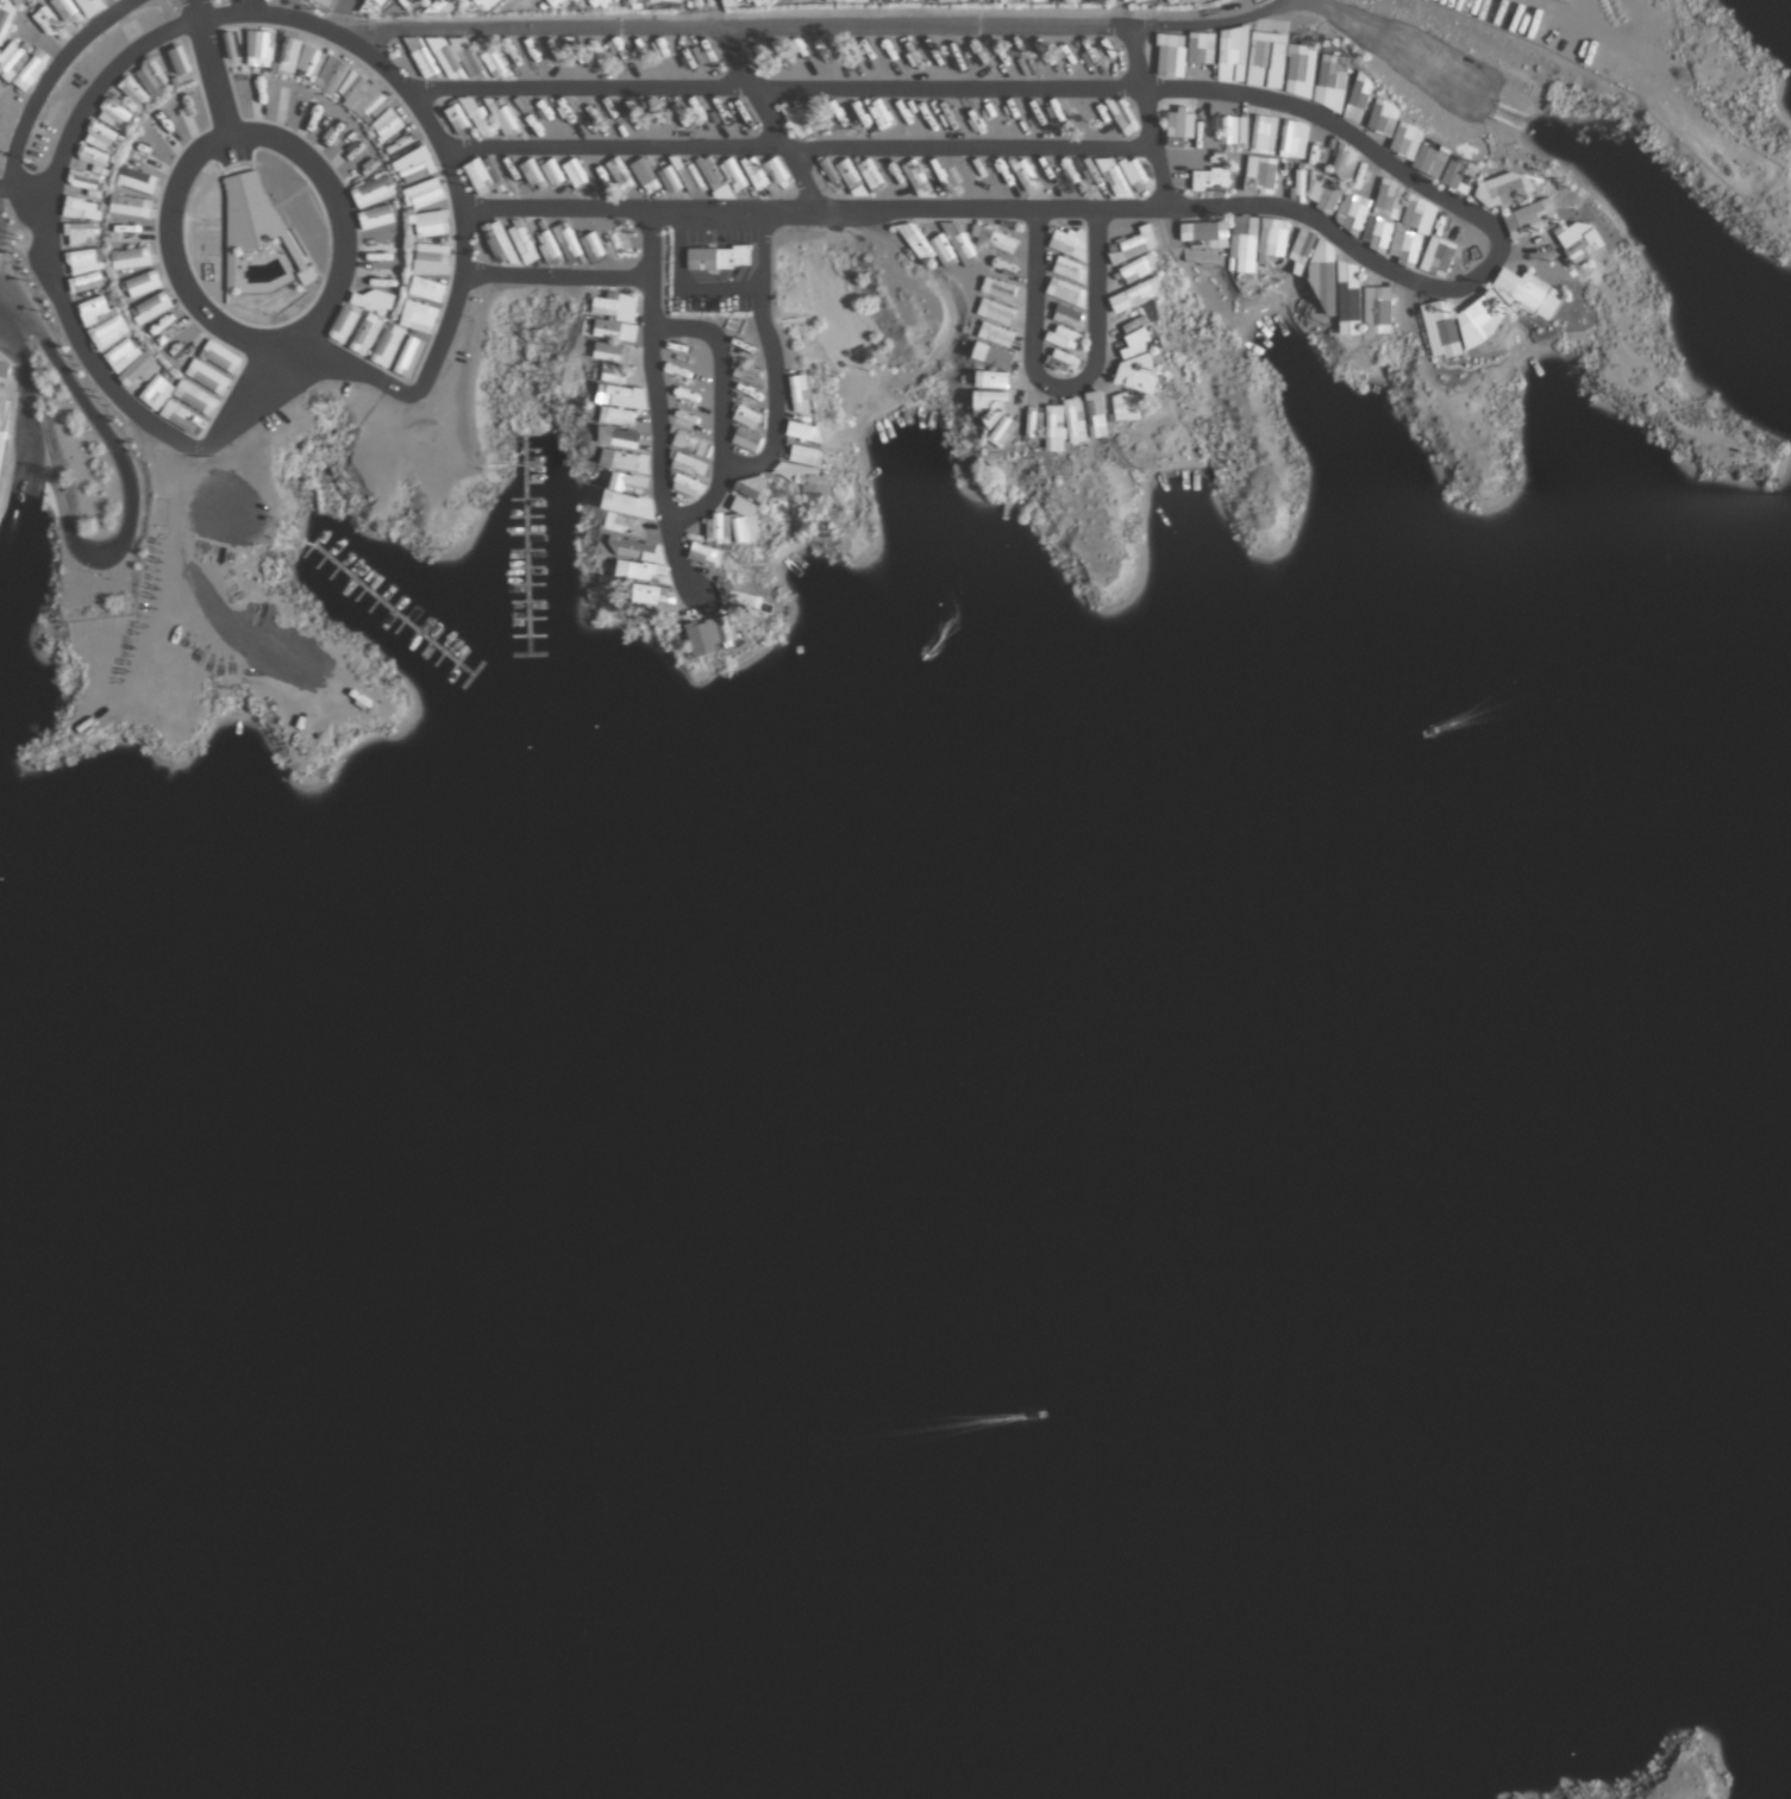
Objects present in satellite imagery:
road: (198, 10)
road: (338, 17)
road: (196, 19)
road: (1207, 26)
road: (822, 27)
building: (1201, 49)
road: (1397, 55)
building: (1170, 56)
building: (1232, 56)
building: (1266, 61)
building: (1301, 71)
parking lot: (1429, 73)
building: (1332, 74)
road: (214, 77)
road: (774, 88)
road: (39, 94)
building: (1358, 99)
building: (1035, 113)
building: (881, 115)
building: (1123, 117)
building: (478, 118)
road: (769, 118)
building: (1383, 118)
building: (458, 120)
building: (796, 120)
building: (507, 123)
road: (1527, 124)
building: (1181, 125)
building: (387, 126)
building: (1234, 131)
building: (1264, 134)
building: (1294, 140)
road: (797, 148)
building: (1419, 151)
building: (1344, 163)
building: (92, 173)
building: (414, 173)
building: (553, 173)
building: (483, 174)
building: (599, 174)
building: (712, 174)
building: (754, 174)
building: (576, 175)
building: (620, 175)
building: (734, 175)
building: (871, 175)
building: (1260, 175)
building: (1459, 175)
building: (533, 176)
building: (645, 176)
building: (829, 176)
building: (1091, 176)
building: (852, 178)
building: (1125, 178)
building: (690, 180)
building: (918, 180)
building: (1211, 180)
building: (137, 181)
building: (670, 181)
building: (1300, 182)
road: (6, 188)
building: (1508, 189)
building: (371, 192)
building: (1325, 193)
building: (422, 195)
road: (337, 205)
building: (130, 206)
building: (81, 209)
road: (812, 209)
building: (1352, 213)
building: (376, 218)
building: (1530, 219)
building: (430, 224)
building: (253, 225)
building: (1398, 225)
road: (1495, 231)
building: (129, 232)
building: (1204, 233)
building: (80, 234)
building: (995, 238)
building: (1579, 242)
building: (522, 243)
building: (619, 243)
building: (1069, 243)
building: (1244, 243)
building: (1273, 243)
building: (501, 244)
building: (569, 244)
building: (960, 244)
building: (1135, 245)
building: (591, 246)
building: (927, 246)
building: (1303, 246)
building: (547, 247)
road: (170, 253)
building: (1438, 257)
building: (131, 258)
building: (432, 259)
building: (719, 259)
building: (84, 261)
road: (290, 268)
building: (1138, 269)
building: (1070, 270)
road: (555, 275)
building: (1325, 276)
building: (89, 282)
building: (142, 284)
building: (998, 289)
building: (425, 292)
building: (1066, 293)
building: (1135, 295)
building: (1348, 300)
building: (371, 303)
building: (607, 305)
building: (151, 308)
building: (1378, 311)
building: (995, 312)
building: (1485, 313)
building: (1067, 316)
building: (418, 319)
building: (104, 322)
building: (343, 327)
building: (615, 331)
building: (1139, 332)
building: (367, 336)
building: (996, 336)
road: (284, 337)
building: (1063, 338)
building: (388, 346)
building: (119, 352)
building: (685, 356)
road: (774, 356)
building: (221, 358)
building: (409, 358)
building: (996, 358)
building: (1064, 363)
road: (722, 366)
building: (139, 370)
building: (615, 374)
building: (747, 376)
building: (683, 377)
building: (207, 380)
building: (991, 380)
building: (1139, 382)
road: (1062, 387)
road: (23, 389)
building: (156, 393)
building: (800, 395)
building: (615, 396)
road: (275, 399)
building: (195, 400)
building: (990, 401)
building: (1127, 407)
road: (660, 409)
building: (1096, 414)
building: (618, 418)
building: (747, 418)
building: (182, 420)
building: (1065, 424)
building: (1034, 428)
building: (803, 432)
building: (1002, 432)
building: (621, 439)
building: (747, 441)
building: (1, 443)
building: (690, 444)
building: (807, 456)
building: (620, 460)
pier: (505, 465)
building: (689, 465)
building: (807, 481)
building: (626, 483)
building: (688, 487)
building: (753, 489)
road: (131, 499)
road: (706, 503)
building: (746, 521)
building: (622, 525)
building: (719, 529)
pier: (525, 545)
building: (630, 550)
building: (707, 556)
building: (645, 572)
building: (646, 594)
pier: (383, 603)
building: (713, 635)
pier: (533, 654)
pier: (471, 676)
river: (897, 1306)

